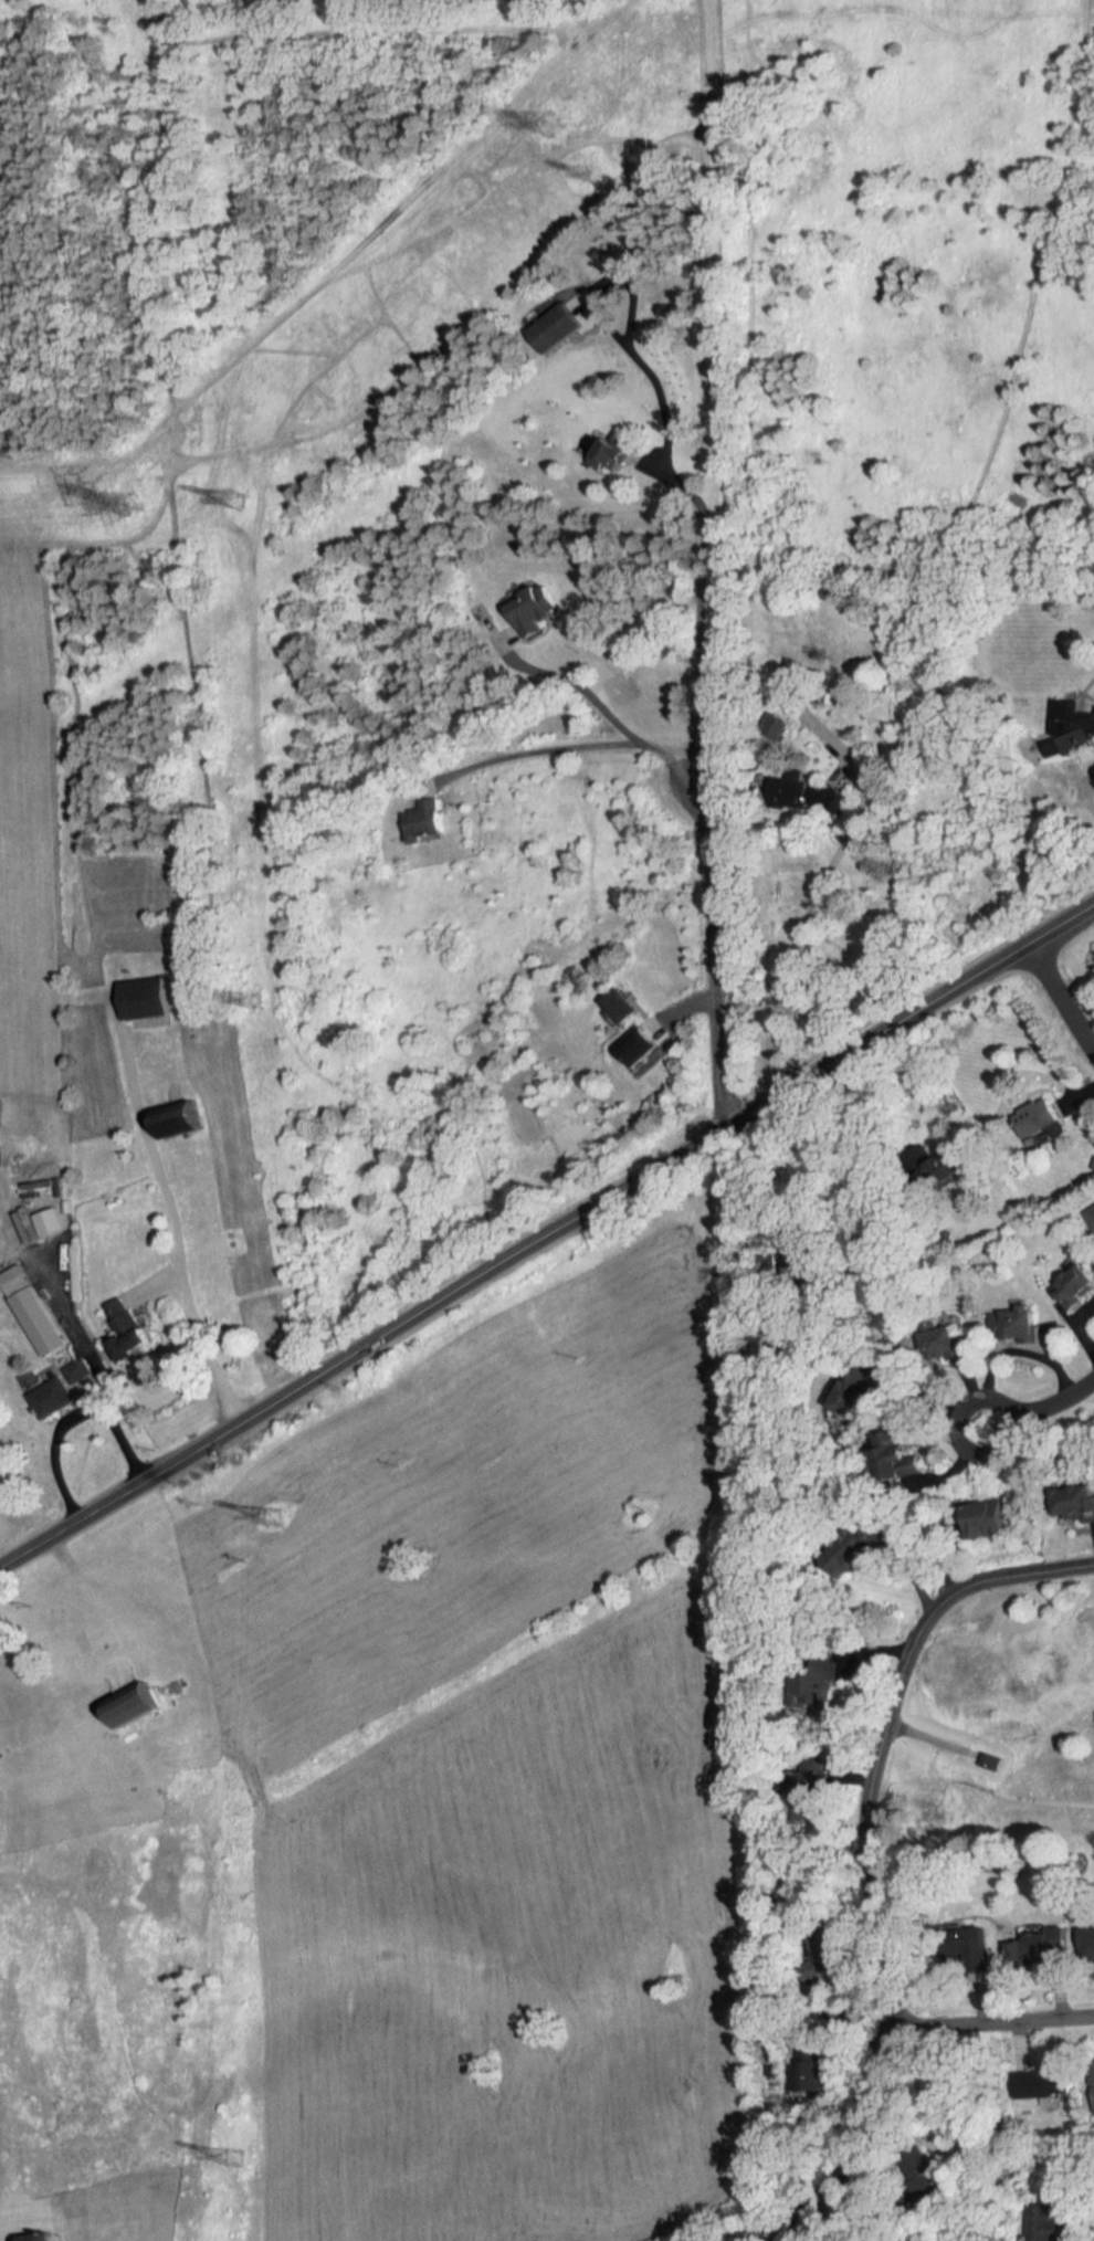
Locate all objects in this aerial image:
power tower: (553, 129)
power tower: (603, 178)
building: (556, 329)
building: (610, 456)
power tower: (243, 504)
power tower: (137, 506)
road: (702, 514)
road: (716, 562)
building: (530, 613)
road: (597, 703)
road: (538, 750)
building: (792, 793)
building: (428, 818)
road: (818, 897)
road: (1061, 998)
building: (148, 999)
power tower: (260, 1002)
building: (622, 1006)
building: (645, 1048)
road: (862, 1109)
building: (185, 1119)
building: (1043, 1124)
road: (765, 1168)
building: (1091, 1216)
road: (546, 1235)
building: (1076, 1287)
road: (1084, 1319)
building: (41, 1323)
building: (1014, 1325)
building: (132, 1330)
road: (202, 1338)
building: (953, 1346)
road: (1008, 1348)
building: (60, 1391)
road: (1040, 1409)
road: (78, 1411)
building: (900, 1458)
building: (1076, 1501)
power tower: (276, 1516)
building: (991, 1519)
building: (138, 1703)
park: (1009, 1736)
road: (872, 1860)
building: (1088, 1940)
building: (1042, 1947)
building: (969, 1948)
road: (982, 2027)
building: (802, 2066)
building: (1093, 2066)
building: (1054, 2083)
power tower: (239, 2158)
road: (867, 2212)

